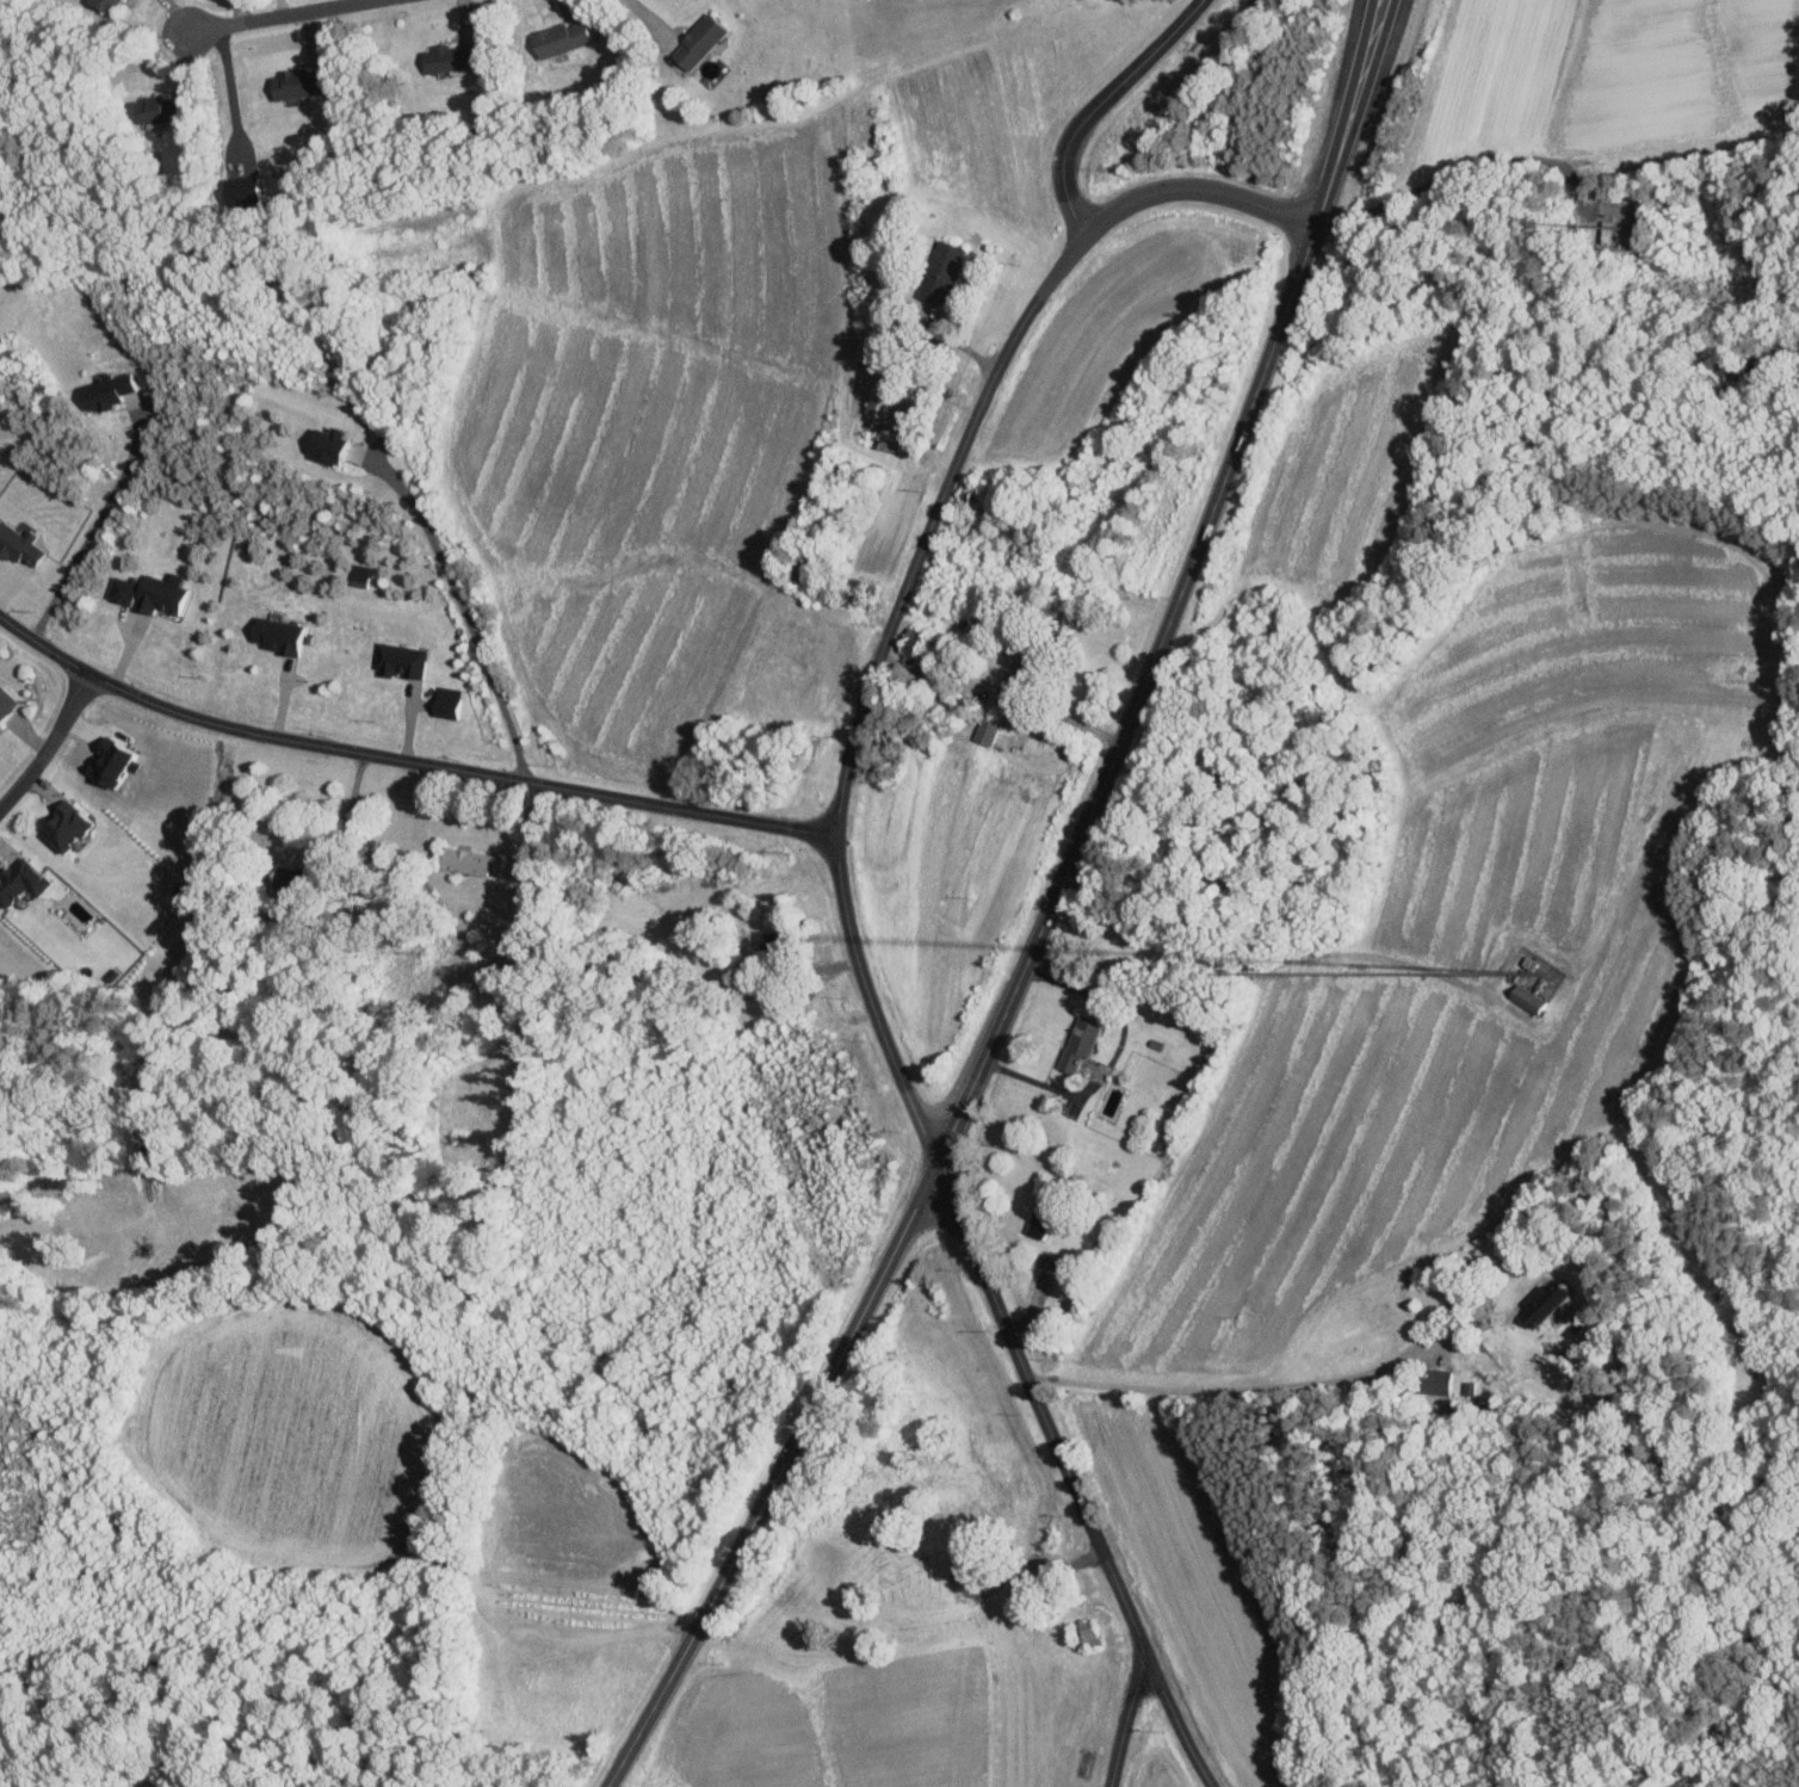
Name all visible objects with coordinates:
building: (106, 4)
road: (280, 14)
road: (642, 18)
building: (556, 38)
building: (694, 41)
building: (444, 57)
building: (293, 82)
road: (230, 87)
road: (1344, 105)
road: (1095, 106)
road: (1359, 106)
building: (155, 110)
road: (1464, 165)
building: (237, 190)
building: (939, 267)
building: (103, 391)
building: (876, 394)
road: (1250, 410)
building: (885, 437)
building: (323, 445)
road: (91, 528)
building: (17, 545)
road: (914, 565)
building: (357, 575)
building: (148, 593)
road: (463, 611)
building: (273, 635)
building: (907, 641)
building: (397, 660)
building: (4, 701)
building: (444, 701)
road: (1061, 719)
building: (984, 731)
road: (50, 743)
road: (407, 759)
road: (345, 816)
building: (61, 824)
building: (464, 860)
building: (18, 879)
building: (1522, 997)
building: (1076, 1041)
road: (914, 1208)
building: (1034, 1224)
building: (1540, 1303)
building: (1438, 1381)
road: (1241, 1393)
road: (1069, 1478)
building: (1083, 1634)
road: (1125, 1723)

